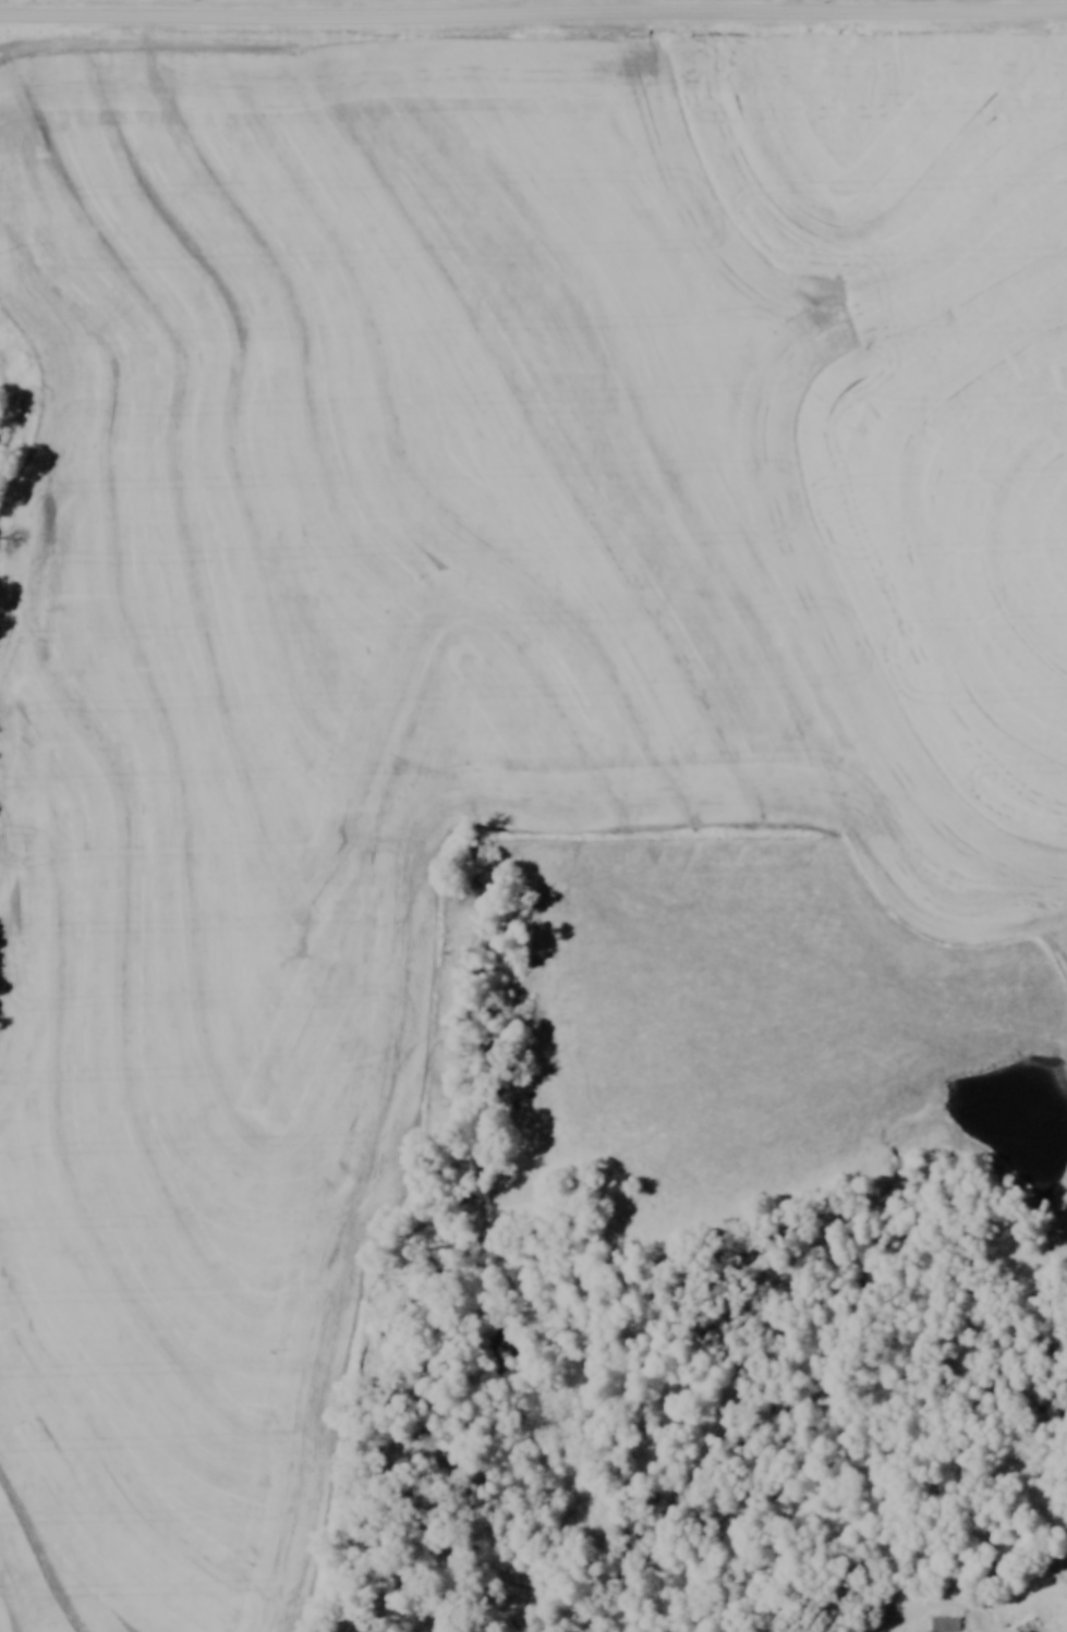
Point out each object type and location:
road: (792, 8)
road: (533, 15)
building: (943, 1624)

